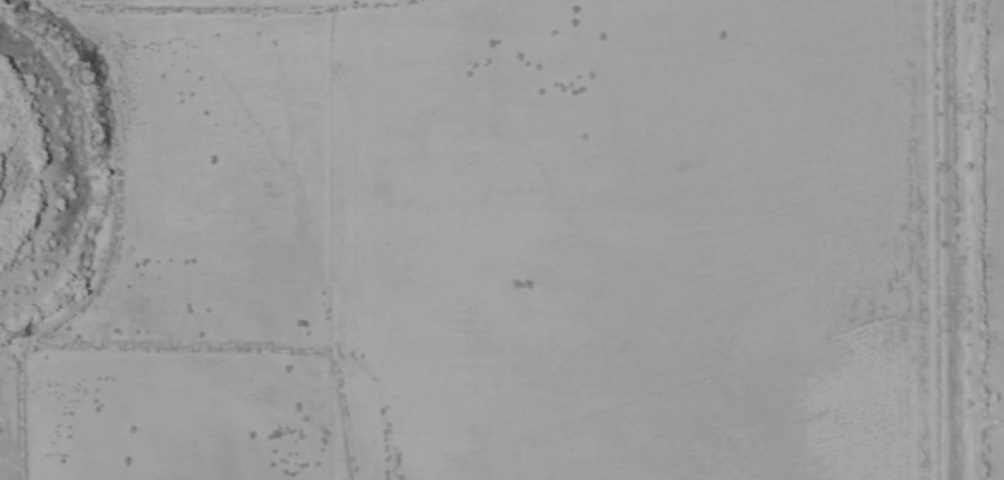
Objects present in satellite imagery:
road: (100, 198)

